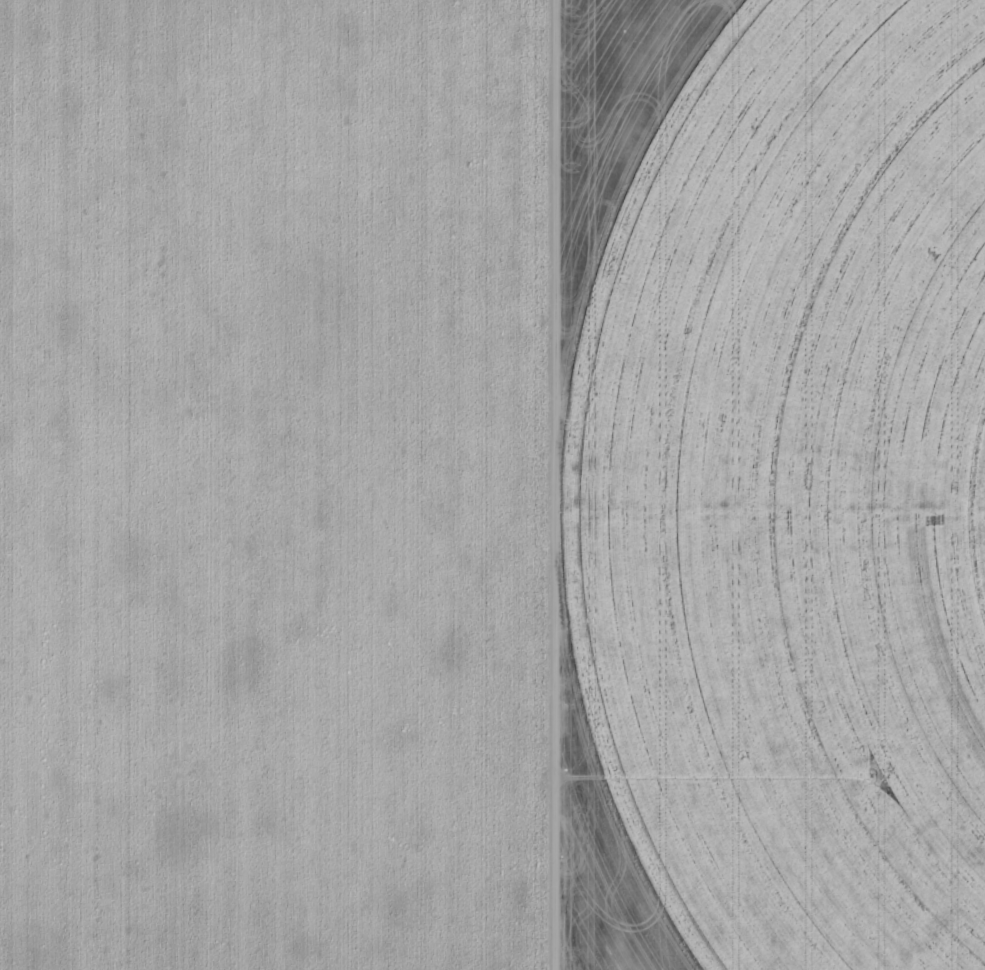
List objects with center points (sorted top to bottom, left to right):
road: (590, 485)

